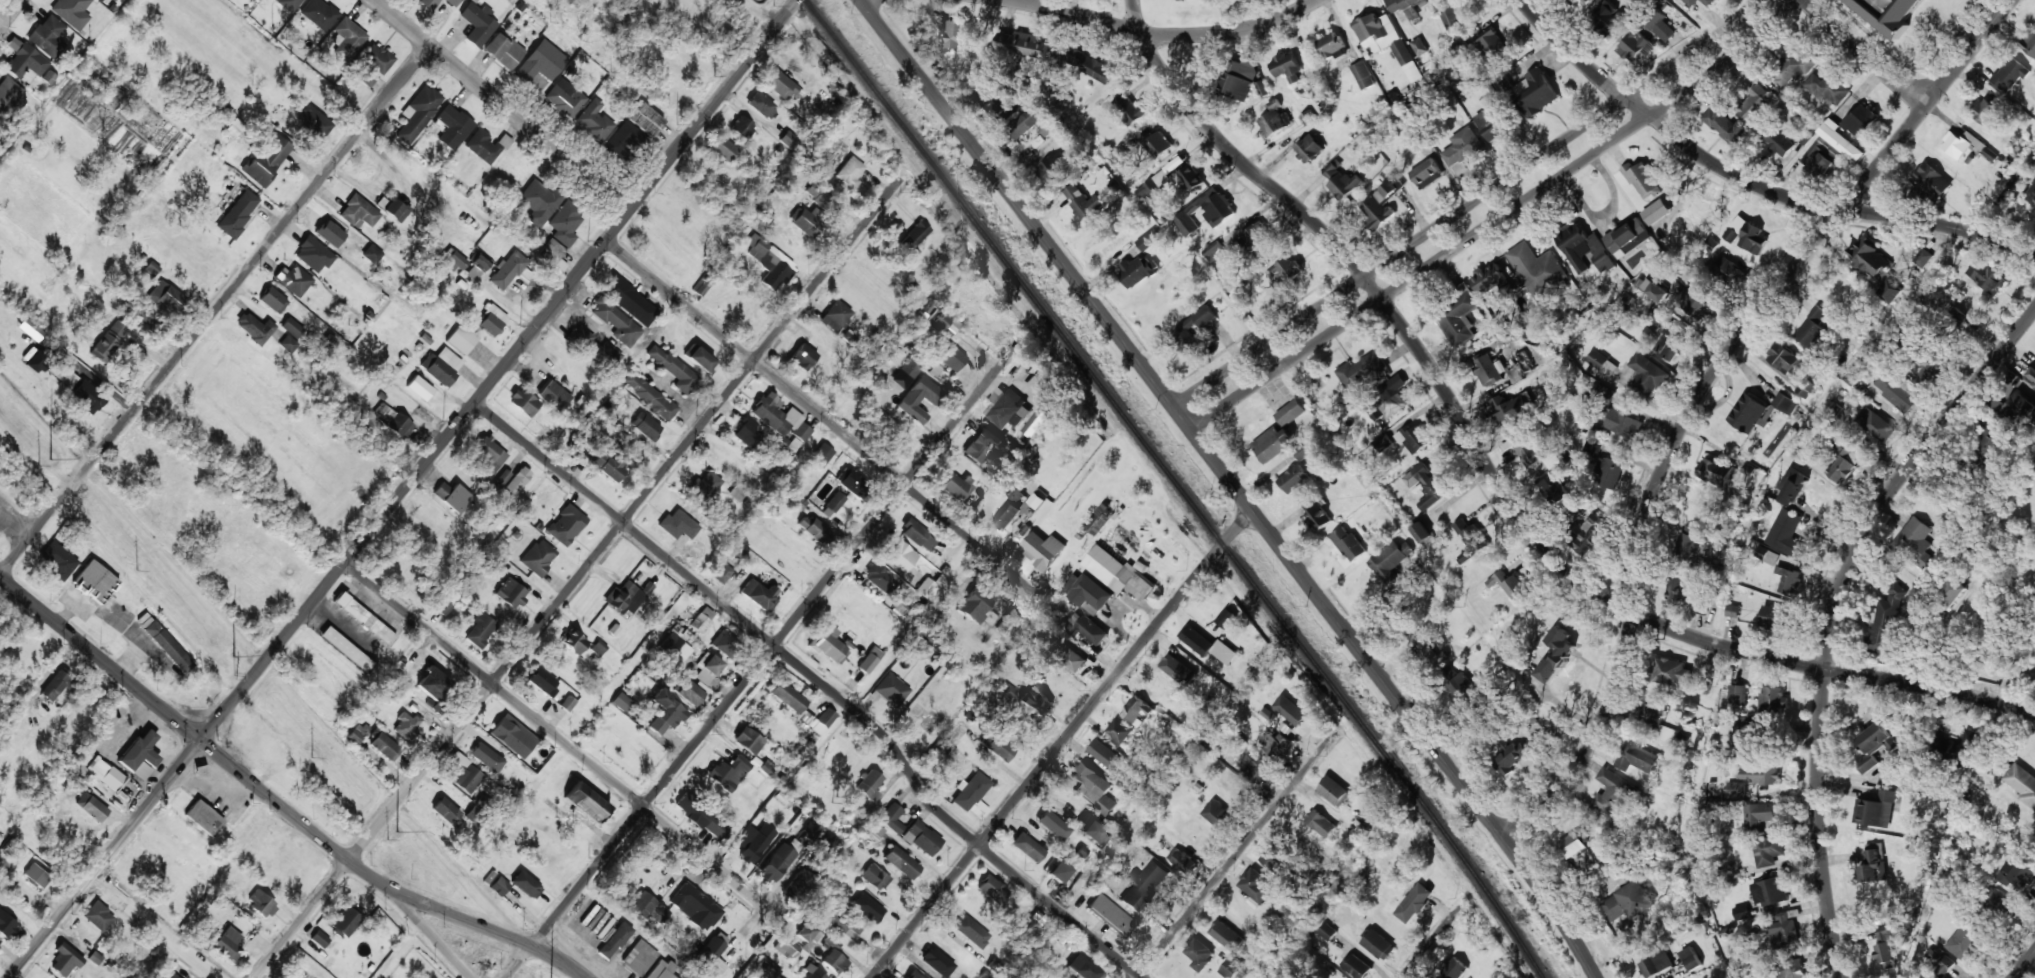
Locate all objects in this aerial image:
building: (99, 0)
building: (1575, 0)
building: (1586, 1)
building: (453, 2)
road: (870, 2)
building: (1691, 2)
building: (1707, 2)
building: (289, 4)
building: (429, 4)
building: (1405, 7)
building: (1896, 11)
building: (72, 12)
road: (11, 14)
building: (319, 14)
building: (1609, 17)
building: (1450, 18)
road: (3, 19)
building: (478, 24)
building: (1661, 26)
building: (960, 33)
road: (1160, 33)
building: (48, 36)
building: (348, 39)
building: (1386, 40)
building: (2029, 42)
building: (1022, 43)
building: (1492, 43)
building: (1331, 45)
building: (1419, 46)
building: (1635, 47)
building: (1459, 48)
building: (503, 51)
road: (1866, 53)
building: (540, 63)
building: (26, 64)
building: (375, 65)
building: (1090, 65)
building: (1287, 68)
building: (1792, 69)
building: (2011, 74)
building: (1363, 75)
building: (1239, 77)
building: (779, 85)
building: (1827, 88)
building: (1535, 92)
building: (8, 94)
building: (565, 98)
building: (994, 101)
road: (503, 104)
building: (1755, 104)
building: (761, 105)
building: (1129, 109)
building: (1984, 111)
building: (418, 114)
building: (95, 119)
building: (646, 120)
building: (1028, 120)
building: (1275, 120)
building: (1860, 120)
building: (314, 122)
building: (595, 122)
building: (1491, 123)
building: (1727, 124)
building: (235, 126)
building: (450, 127)
building: (743, 127)
building: (1048, 127)
building: (788, 140)
building: (1840, 140)
building: (624, 141)
building: (1780, 142)
building: (1158, 144)
building: (1965, 145)
building: (486, 146)
building: (1309, 148)
building: (724, 149)
building: (1462, 149)
building: (1119, 156)
building: (268, 160)
building: (1822, 163)
building: (1054, 168)
building: (849, 173)
building: (1426, 173)
building: (1187, 178)
building: (1642, 178)
building: (1341, 181)
road: (1753, 181)
building: (1932, 181)
building: (1153, 185)
building: (2033, 190)
building: (820, 194)
building: (2030, 198)
building: (1083, 201)
building: (539, 202)
building: (1379, 206)
road: (1466, 206)
building: (392, 209)
building: (236, 211)
building: (1205, 212)
building: (358, 213)
road: (1499, 220)
building: (806, 222)
building: (565, 224)
building: (914, 236)
building: (1255, 236)
building: (1747, 236)
building: (1627, 237)
building: (336, 238)
building: (1148, 239)
building: (757, 249)
building: (1584, 249)
building: (1214, 251)
building: (372, 254)
building: (313, 255)
building: (1869, 257)
building: (1923, 257)
building: (454, 262)
building: (479, 264)
building: (775, 268)
building: (1536, 268)
building: (151, 269)
building: (508, 270)
building: (1137, 271)
building: (1731, 272)
building: (1285, 273)
building: (1988, 276)
building: (1488, 278)
building: (293, 280)
building: (1653, 289)
building: (1889, 291)
building: (169, 297)
building: (627, 299)
building: (273, 300)
building: (1696, 302)
road: (215, 310)
building: (836, 316)
building: (1460, 316)
building: (492, 321)
building: (615, 322)
building: (1187, 326)
building: (1815, 327)
building: (255, 328)
building: (292, 328)
building: (462, 339)
building: (109, 341)
building: (1671, 342)
building: (288, 344)
building: (596, 348)
building: (949, 356)
building: (802, 357)
building: (700, 360)
building: (1786, 360)
building: (39, 361)
building: (1932, 362)
building: (1602, 363)
building: (441, 366)
building: (1520, 366)
building: (910, 368)
building: (673, 369)
building: (1360, 370)
building: (1486, 370)
building: (1648, 373)
building: (1855, 375)
building: (64, 376)
building: (2031, 376)
building: (419, 388)
building: (1897, 389)
building: (1604, 394)
road: (1704, 394)
building: (554, 395)
building: (649, 396)
building: (88, 397)
building: (919, 399)
building: (1390, 399)
building: (524, 402)
building: (1785, 403)
building: (1510, 407)
building: (1009, 410)
building: (2019, 410)
building: (1290, 412)
building: (1751, 413)
road: (824, 418)
building: (780, 419)
building: (1623, 424)
building: (1876, 424)
building: (399, 426)
building: (645, 426)
building: (746, 433)
building: (1990, 438)
building: (1413, 439)
building: (1272, 443)
building: (982, 444)
building: (1527, 450)
building: (1301, 452)
building: (491, 455)
building: (821, 455)
power tower: (50, 461)
building: (1841, 461)
building: (610, 465)
building: (1715, 471)
building: (1610, 473)
building: (1294, 479)
building: (517, 480)
road: (1499, 480)
building: (851, 482)
building: (954, 484)
road: (1234, 484)
building: (1427, 485)
building: (1792, 486)
building: (704, 487)
building: (1552, 487)
railway: (1178, 488)
road: (406, 489)
building: (737, 493)
building: (453, 497)
building: (834, 502)
building: (1032, 505)
building: (1006, 515)
building: (1317, 516)
building: (1100, 519)
building: (566, 525)
building: (677, 525)
building: (813, 528)
building: (1423, 534)
building: (1787, 534)
building: (918, 536)
building: (1591, 536)
building: (1471, 540)
building: (1690, 542)
building: (1915, 542)
building: (1347, 543)
building: (1044, 550)
building: (900, 556)
building: (538, 557)
building: (1391, 558)
building: (57, 561)
building: (723, 571)
building: (1119, 573)
road: (579, 577)
road: (1197, 577)
building: (879, 579)
building: (1790, 581)
building: (95, 582)
building: (1508, 583)
building: (1678, 586)
building: (925, 588)
building: (1952, 592)
building: (511, 593)
building: (1092, 593)
building: (758, 594)
building: (1917, 595)
building: (626, 598)
building: (975, 604)
building: (1703, 605)
building: (444, 608)
building: (1733, 610)
building: (1776, 617)
road: (1833, 617)
building: (1226, 618)
building: (364, 619)
building: (702, 619)
building: (1885, 622)
building: (1008, 623)
building: (1086, 629)
building: (480, 630)
building: (573, 641)
building: (725, 644)
building: (167, 645)
building: (828, 645)
building: (1208, 645)
building: (346, 649)
building: (1557, 653)
building: (1426, 655)
road: (766, 657)
power tower: (233, 658)
building: (1072, 660)
building: (869, 661)
building: (1178, 669)
building: (708, 670)
building: (1671, 672)
road: (820, 679)
building: (541, 681)
building: (432, 684)
building: (55, 686)
building: (1460, 686)
building: (891, 689)
building: (690, 693)
building: (1737, 694)
building: (787, 697)
building: (1772, 699)
building: (1035, 701)
building: (620, 702)
building: (567, 704)
building: (1653, 708)
building: (1290, 710)
building: (1137, 711)
building: (666, 713)
building: (825, 718)
building: (1743, 724)
building: (406, 725)
building: (1118, 732)
building: (357, 734)
building: (1666, 734)
building: (513, 736)
road: (564, 741)
building: (748, 741)
building: (1273, 745)
building: (1875, 745)
building: (1959, 745)
building: (384, 747)
building: (997, 748)
building: (1106, 754)
building: (140, 756)
building: (486, 757)
building: (1637, 758)
building: (105, 773)
building: (729, 773)
building: (464, 774)
building: (1759, 774)
building: (2022, 782)
building: (868, 783)
building: (1093, 787)
building: (1735, 789)
building: (1335, 791)
building: (969, 792)
building: (1610, 793)
building: (873, 796)
road: (275, 800)
building: (586, 802)
building: (90, 807)
building: (1876, 810)
building: (447, 812)
road: (1007, 812)
building: (1216, 813)
building: (1760, 813)
building: (700, 815)
building: (204, 818)
building: (892, 818)
building: (1321, 823)
building: (1053, 825)
building: (811, 829)
building: (877, 830)
building: (1092, 830)
power tower: (397, 834)
building: (921, 838)
building: (826, 841)
building: (754, 842)
building: (1571, 845)
building: (1027, 847)
building: (1768, 850)
road: (1239, 853)
building: (1272, 857)
building: (1182, 860)
building: (779, 861)
building: (901, 863)
building: (1873, 866)
building: (2017, 871)
building: (1058, 872)
building: (36, 876)
building: (874, 878)
building: (525, 884)
building: (499, 886)
building: (799, 886)
building: (1144, 886)
building: (1255, 886)
building: (992, 889)
building: (1770, 891)
building: (1628, 901)
building: (1413, 903)
building: (261, 904)
building: (694, 907)
building: (866, 908)
building: (1741, 912)
building: (1112, 916)
building: (98, 917)
building: (345, 922)
building: (6, 925)
road: (156, 926)
building: (1784, 928)
road: (427, 930)
building: (971, 931)
building: (1327, 931)
building: (1227, 935)
building: (808, 936)
building: (320, 939)
road: (1435, 940)
building: (1964, 940)
building: (614, 941)
building: (227, 943)
building: (1379, 945)
building: (787, 948)
building: (712, 953)
building: (1200, 954)
building: (1883, 955)
building: (638, 958)
building: (1691, 958)
building: (65, 960)
building: (834, 960)
building: (936, 962)
building: (1939, 963)
building: (1655, 964)
road: (2024, 964)
building: (1357, 967)
building: (1082, 968)
building: (1454, 968)
building: (1232, 969)
building: (1790, 969)
building: (660, 970)
building: (771, 971)
building: (812, 973)
building: (171, 975)
building: (913, 975)

